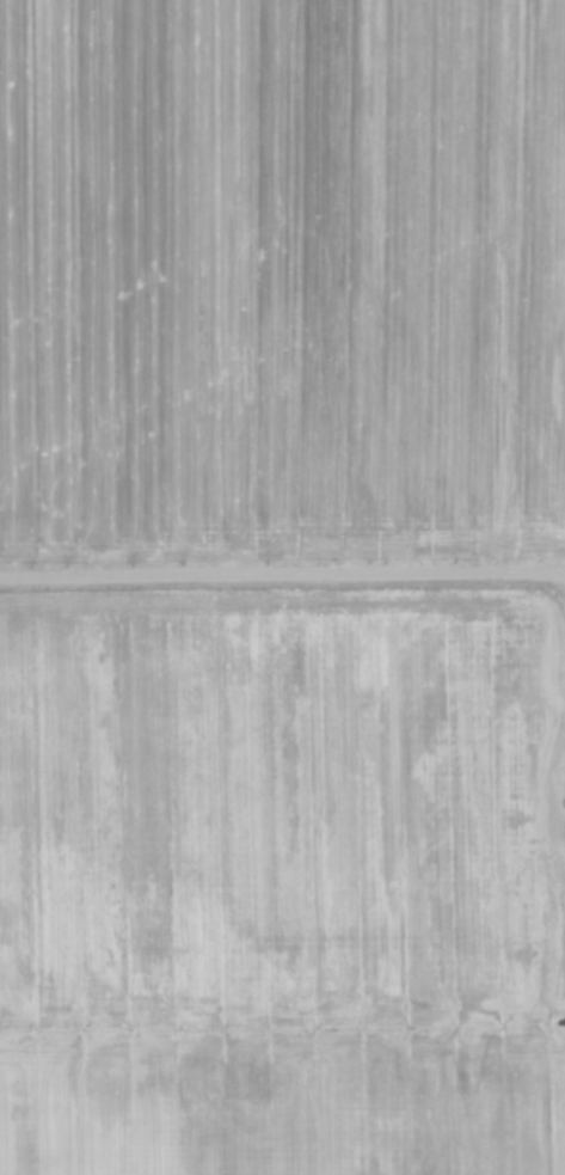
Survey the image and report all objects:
road: (282, 571)

